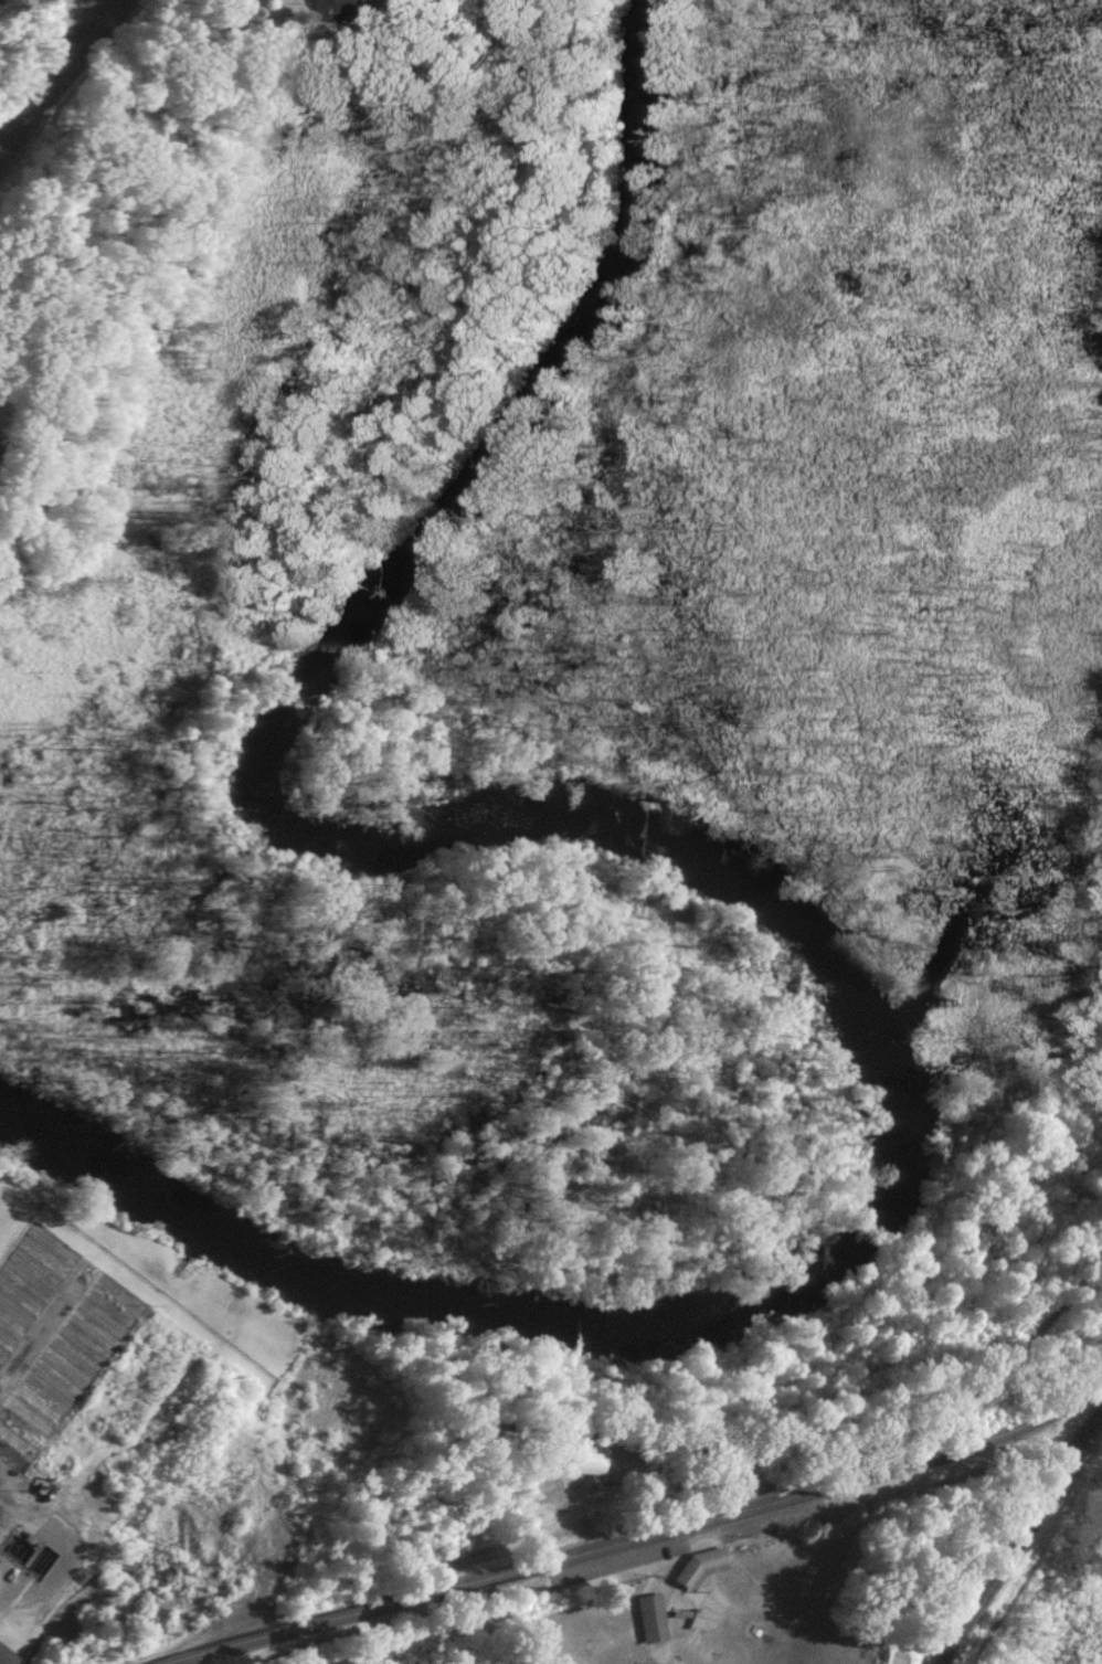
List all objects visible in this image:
building: (336, 10)
road: (84, 17)
road: (56, 66)
river: (701, 859)
building: (390, 883)
wastewater plant: (160, 1423)
building: (576, 1458)
road: (643, 1536)
railway: (1022, 1538)
building: (695, 1567)
road: (3, 1587)
building: (651, 1618)
building: (6, 1656)

